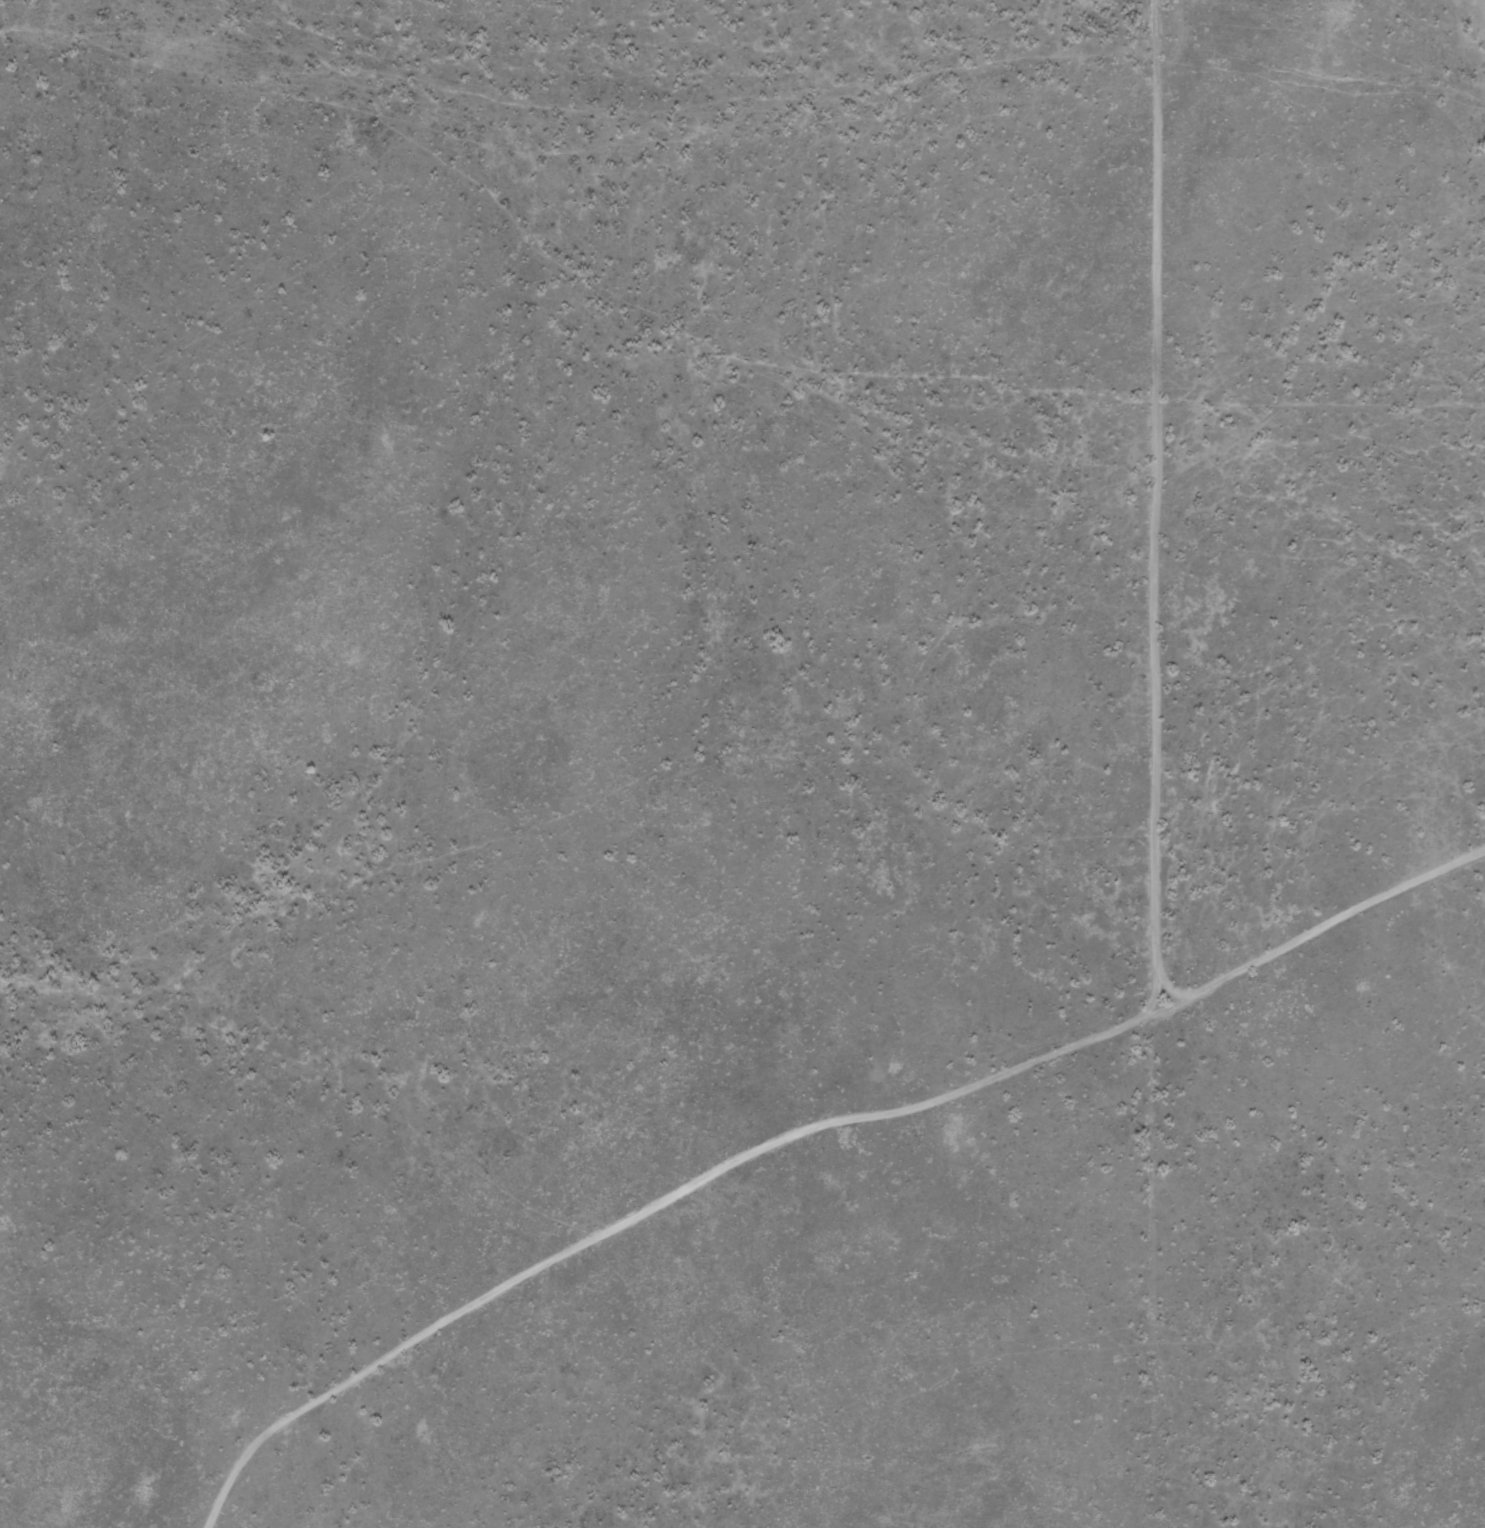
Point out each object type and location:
road: (807, 1127)

